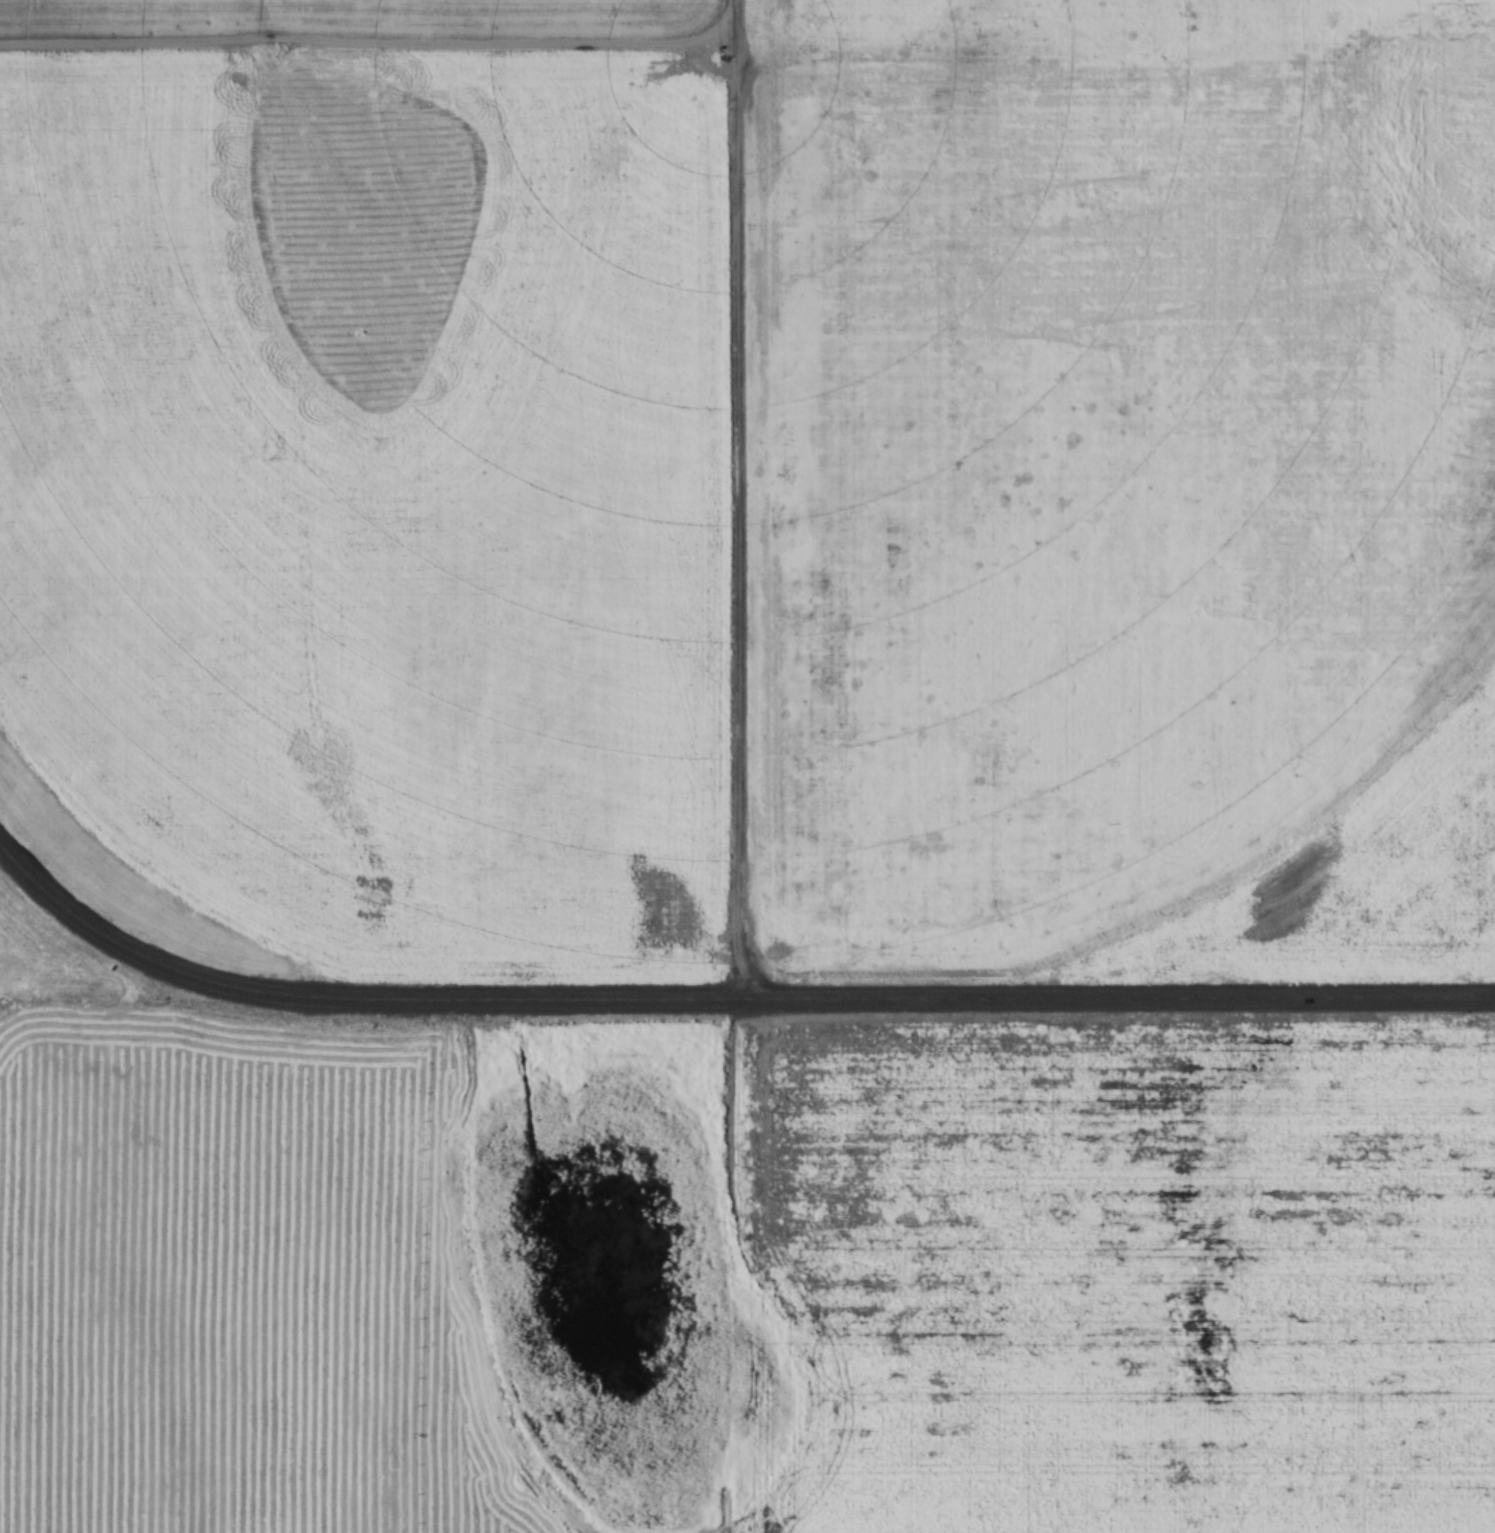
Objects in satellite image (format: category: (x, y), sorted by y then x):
crop: (1094, 451)
road: (723, 993)

